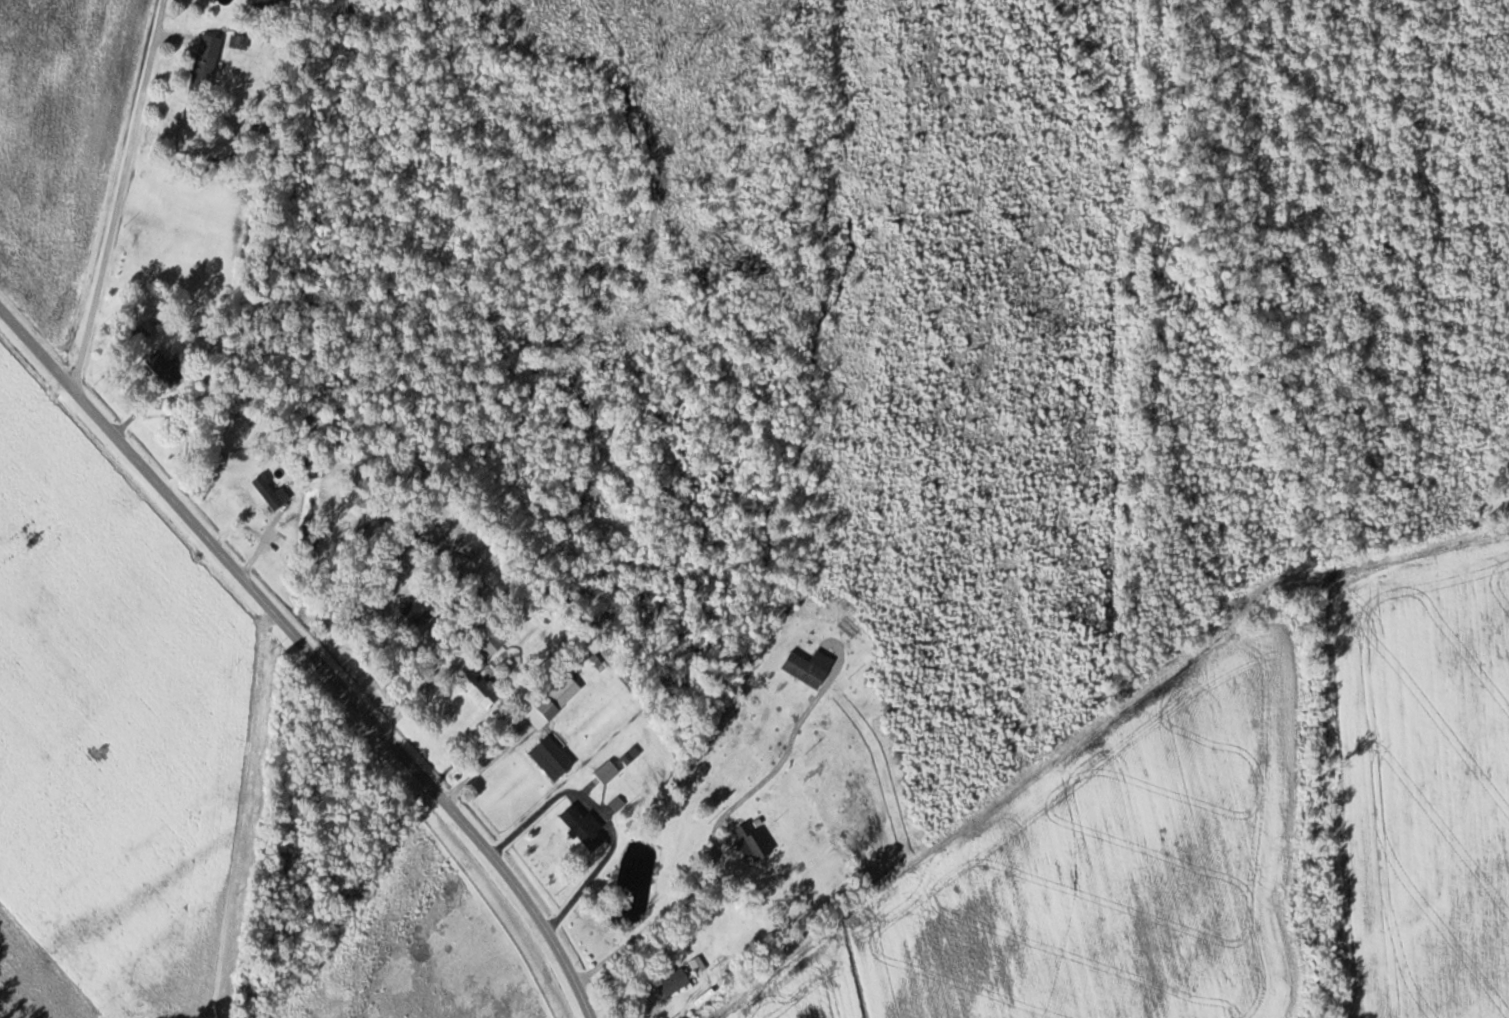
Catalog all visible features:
building: (270, 3)
building: (205, 64)
road: (124, 190)
building: (165, 369)
building: (271, 493)
building: (419, 612)
building: (491, 640)
road: (311, 654)
building: (804, 670)
building: (478, 687)
building: (558, 696)
building: (551, 759)
building: (607, 773)
building: (571, 817)
building: (754, 843)
building: (698, 965)
building: (674, 983)

